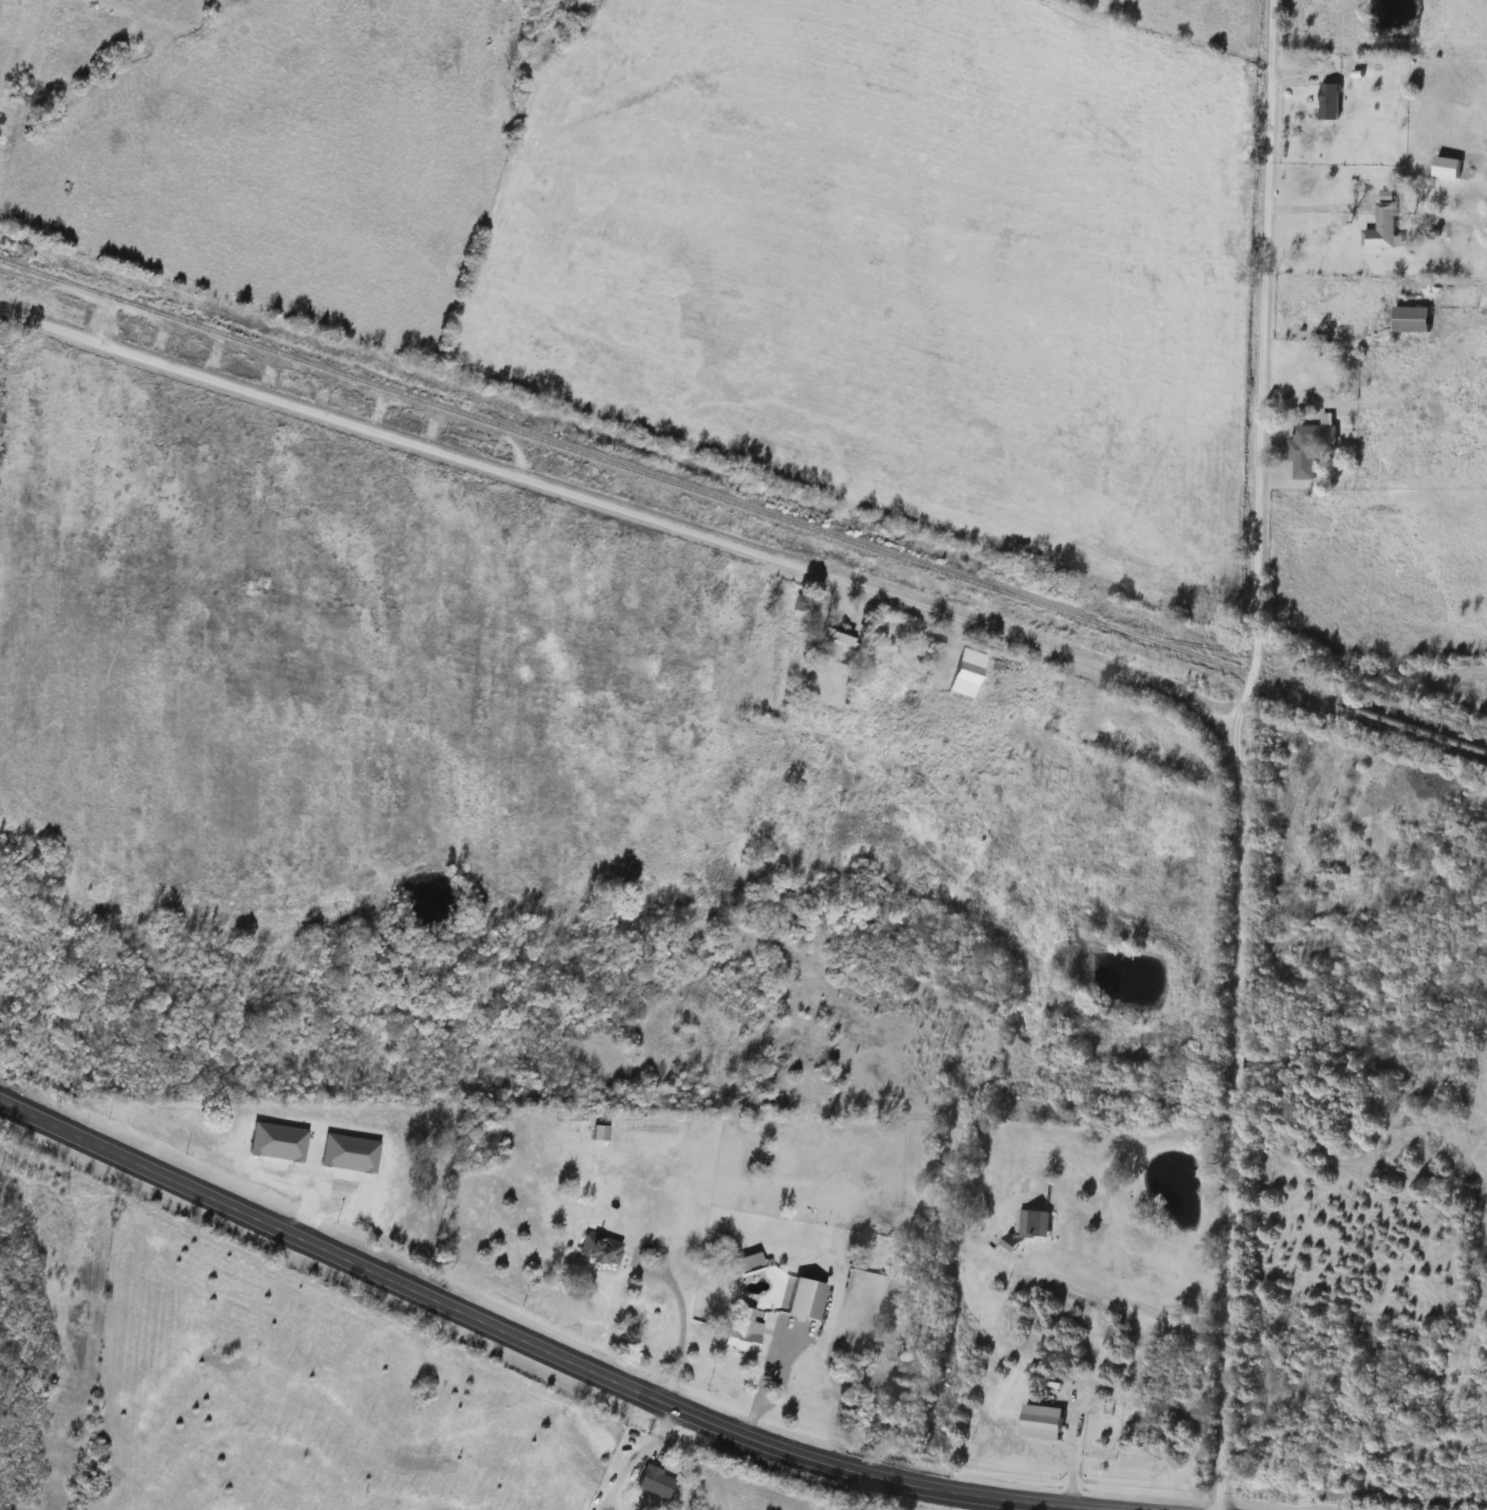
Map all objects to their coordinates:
building: (1327, 101)
road: (1321, 206)
building: (1380, 225)
building: (1408, 320)
road: (1265, 337)
road: (328, 416)
building: (1305, 448)
railway: (743, 506)
building: (799, 606)
road: (945, 615)
building: (834, 633)
railway: (1297, 658)
building: (964, 673)
road: (1233, 1087)
building: (596, 1134)
building: (1026, 1229)
road: (315, 1243)
building: (597, 1252)
building: (805, 1301)
road: (1124, 1307)
building: (741, 1329)
road: (773, 1362)
building: (1039, 1424)
road: (634, 1458)
road: (862, 1471)
building: (653, 1483)

